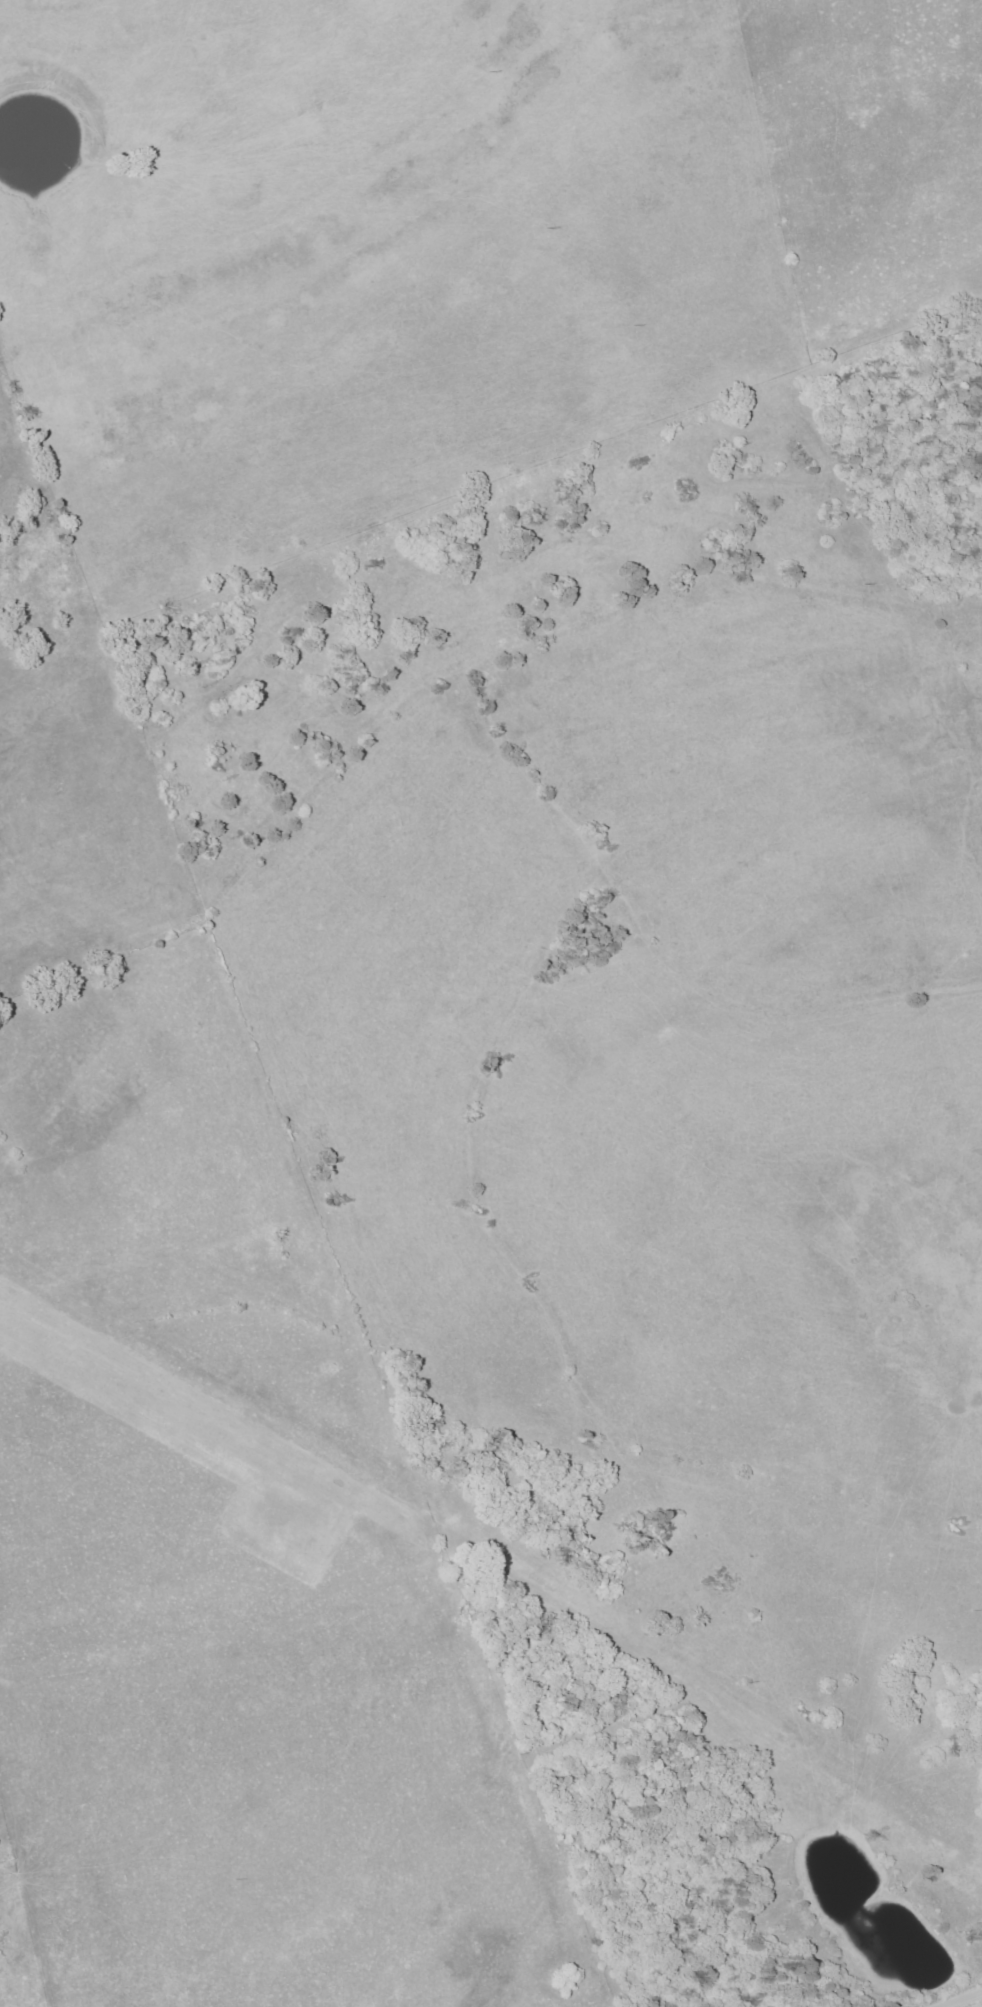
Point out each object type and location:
road: (959, 1998)

